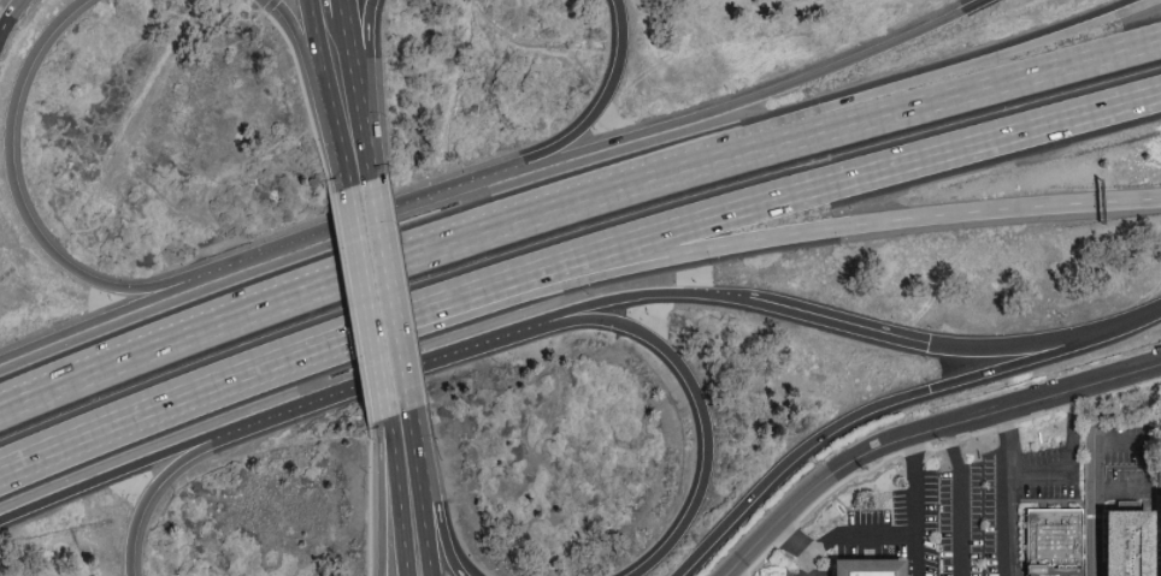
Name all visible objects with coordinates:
road: (267, 5)
road: (10, 8)
road: (344, 18)
road: (2, 24)
road: (302, 48)
road: (317, 49)
road: (966, 66)
road: (369, 75)
road: (974, 88)
road: (358, 94)
road: (736, 101)
road: (588, 114)
road: (336, 149)
road: (372, 172)
road: (790, 192)
road: (19, 208)
road: (915, 215)
road: (350, 219)
road: (389, 262)
road: (548, 279)
road: (393, 301)
road: (365, 308)
road: (110, 313)
road: (838, 319)
road: (371, 321)
road: (381, 376)
road: (695, 392)
road: (158, 402)
road: (877, 403)
road: (413, 423)
road: (921, 430)
road: (1122, 440)
road: (1071, 461)
road: (120, 468)
road: (157, 479)
road: (1095, 480)
road: (1009, 492)
road: (381, 495)
road: (394, 497)
road: (959, 499)
road: (917, 504)
road: (422, 507)
road: (437, 509)
building: (1155, 534)
road: (858, 535)
building: (1057, 544)
building: (1132, 544)
road: (798, 546)
building: (871, 568)
road: (731, 574)

